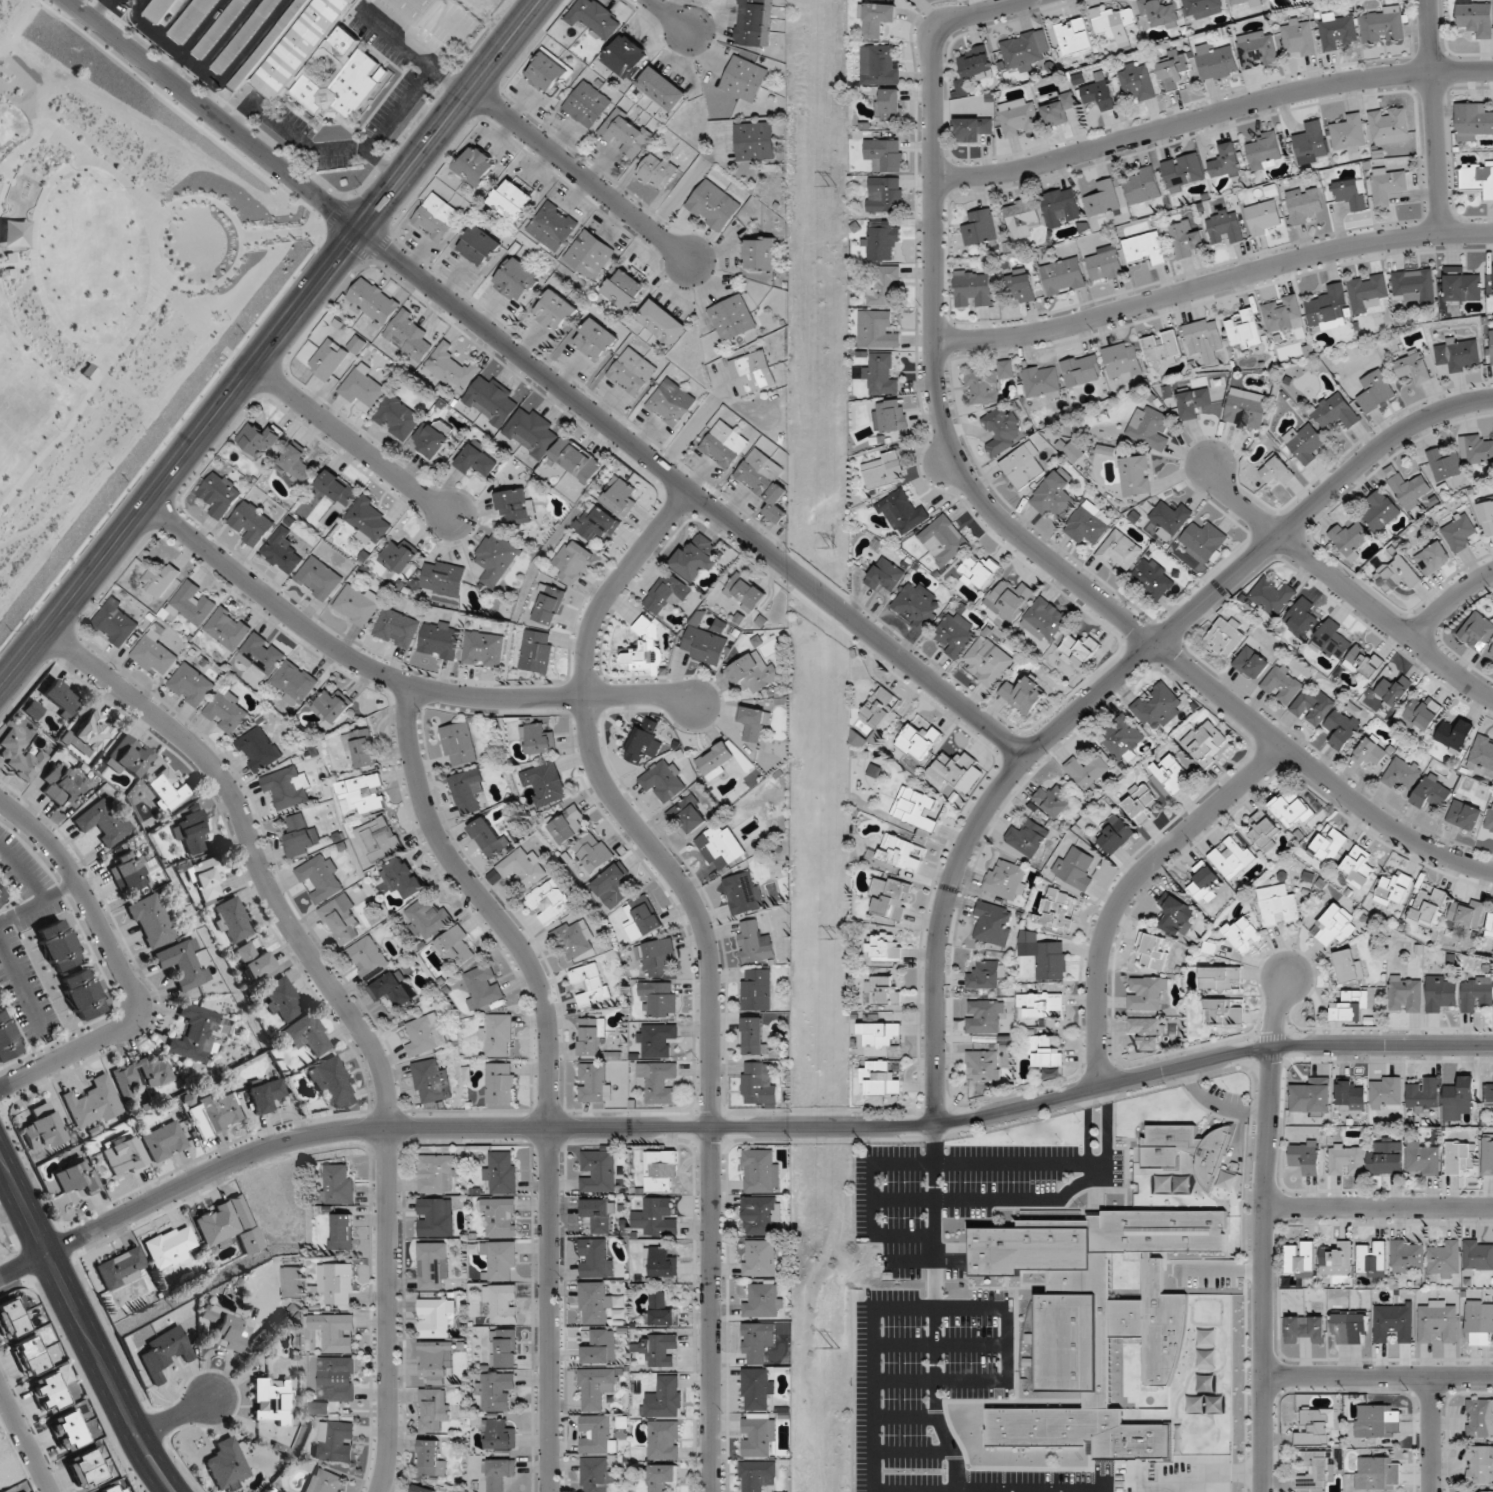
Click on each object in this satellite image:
building: (1245, 2)
building: (1201, 8)
building: (418, 9)
building: (163, 11)
road: (668, 14)
building: (1159, 15)
building: (595, 17)
building: (1476, 17)
building: (191, 19)
building: (877, 20)
building: (754, 23)
building: (1112, 23)
building: (1383, 25)
building: (219, 27)
building: (1339, 30)
building: (244, 35)
building: (1074, 36)
building: (1299, 37)
building: (267, 44)
building: (1257, 49)
road: (412, 50)
building: (1024, 50)
building: (627, 56)
building: (349, 57)
building: (1216, 61)
building: (977, 62)
building: (878, 66)
building: (1175, 70)
building: (547, 72)
building: (744, 79)
building: (1138, 81)
building: (662, 89)
building: (1100, 94)
building: (587, 104)
building: (888, 104)
building: (1058, 110)
road: (1211, 114)
road: (214, 115)
road: (1434, 116)
building: (1019, 117)
building: (1472, 121)
building: (1389, 126)
building: (972, 129)
building: (625, 134)
building: (1349, 134)
building: (756, 141)
building: (1311, 143)
building: (1264, 151)
road: (333, 153)
building: (885, 155)
building: (1225, 162)
road: (383, 165)
building: (476, 166)
building: (656, 171)
building: (1183, 172)
road: (582, 176)
building: (1477, 179)
building: (1388, 184)
building: (1143, 186)
building: (885, 194)
building: (1352, 194)
building: (512, 200)
building: (1103, 200)
building: (1304, 204)
building: (713, 205)
building: (1061, 207)
building: (436, 218)
building: (1022, 218)
building: (1264, 218)
building: (1225, 226)
building: (552, 227)
building: (980, 228)
building: (1184, 238)
building: (881, 240)
building: (479, 246)
building: (1145, 248)
building: (759, 253)
building: (589, 254)
building: (1104, 265)
building: (1063, 276)
building: (517, 279)
park: (113, 284)
building: (883, 284)
road: (1213, 284)
building: (1022, 286)
building: (1415, 286)
building: (1462, 286)
building: (973, 288)
building: (624, 289)
building: (1367, 293)
building: (372, 302)
building: (1328, 309)
building: (554, 311)
building: (1284, 316)
building: (732, 318)
building: (662, 322)
building: (877, 330)
building: (1244, 330)
building: (409, 336)
building: (595, 340)
building: (1204, 340)
road: (271, 343)
building: (1491, 347)
building: (1162, 348)
building: (1459, 354)
building: (328, 359)
building: (1123, 361)
building: (451, 368)
building: (1413, 368)
building: (1082, 370)
building: (632, 372)
building: (752, 372)
building: (881, 374)
building: (1042, 382)
building: (986, 385)
building: (362, 386)
building: (1375, 391)
building: (491, 400)
building: (671, 402)
building: (1194, 403)
building: (1246, 409)
building: (1335, 412)
building: (890, 416)
building: (397, 418)
road: (692, 426)
building: (1149, 428)
building: (1001, 431)
building: (532, 433)
road: (349, 439)
building: (431, 439)
building: (259, 440)
building: (1305, 442)
building: (724, 445)
building: (1479, 449)
building: (577, 459)
building: (476, 461)
building: (297, 463)
building: (1444, 464)
building: (1022, 466)
building: (1276, 470)
building: (883, 471)
building: (1135, 476)
building: (764, 482)
building: (1410, 490)
building: (337, 491)
road: (692, 493)
building: (1053, 494)
building: (220, 495)
building: (621, 496)
building: (515, 506)
building: (1380, 510)
building: (902, 513)
building: (1171, 517)
building: (1487, 517)
building: (367, 520)
building: (598, 523)
building: (251, 524)
road: (1006, 524)
building: (1086, 524)
building: (1458, 534)
building: (1350, 539)
building: (944, 540)
building: (1204, 542)
building: (1120, 550)
building: (282, 552)
building: (398, 557)
building: (496, 558)
building: (1433, 558)
building: (696, 559)
building: (574, 561)
building: (980, 570)
building: (886, 576)
building: (443, 577)
building: (1399, 577)
building: (1153, 578)
building: (318, 579)
building: (158, 580)
road: (1345, 585)
building: (667, 593)
building: (745, 593)
building: (1272, 597)
building: (1009, 599)
building: (193, 604)
building: (357, 604)
road: (1450, 604)
building: (917, 606)
building: (1304, 618)
building: (1044, 620)
building: (116, 622)
building: (397, 628)
building: (227, 629)
building: (1477, 631)
building: (954, 635)
building: (1224, 637)
building: (1331, 639)
building: (440, 640)
building: (704, 646)
building: (483, 649)
building: (646, 650)
building: (1079, 650)
building: (1491, 650)
building: (537, 652)
building: (154, 654)
building: (261, 656)
building: (987, 662)
building: (1251, 663)
building: (1363, 664)
building: (752, 674)
road: (395, 679)
building: (294, 682)
building: (1283, 684)
building: (191, 685)
road: (1103, 688)
building: (1393, 691)
building: (1024, 694)
building: (60, 699)
building: (331, 706)
building: (1158, 706)
building: (879, 707)
building: (1313, 707)
building: (32, 711)
building: (227, 711)
building: (1423, 714)
building: (754, 724)
building: (1342, 729)
building: (93, 732)
building: (1455, 735)
building: (538, 739)
building: (1122, 739)
building: (918, 742)
building: (1207, 744)
building: (458, 745)
building: (642, 746)
building: (257, 749)
building: (362, 749)
building: (1370, 752)
building: (1482, 754)
building: (20, 755)
building: (127, 759)
building: (717, 760)
building: (958, 772)
building: (1088, 772)
building: (1402, 773)
building: (1171, 774)
building: (663, 781)
building: (545, 783)
building: (60, 785)
building: (286, 788)
building: (166, 790)
building: (466, 791)
building: (365, 793)
building: (1432, 793)
building: (1054, 801)
building: (1140, 803)
building: (915, 808)
building: (1291, 809)
building: (688, 813)
building: (1461, 815)
building: (1491, 819)
building: (103, 821)
building: (568, 826)
building: (190, 832)
building: (1264, 832)
building: (300, 834)
building: (1115, 834)
building: (487, 837)
building: (1027, 837)
building: (379, 839)
building: (1328, 847)
building: (719, 848)
building: (900, 853)
building: (592, 854)
building: (1231, 857)
building: (522, 867)
building: (1358, 867)
building: (1075, 868)
building: (129, 871)
building: (321, 878)
building: (402, 878)
building: (206, 880)
building: (1005, 880)
building: (1204, 884)
road: (1130, 885)
building: (613, 887)
building: (1395, 889)
building: (743, 893)
building: (2, 895)
building: (890, 897)
building: (549, 902)
building: (1277, 905)
building: (1427, 907)
building: (1055, 909)
building: (645, 915)
building: (1466, 915)
building: (1176, 916)
building: (342, 918)
building: (427, 918)
building: (230, 920)
building: (152, 922)
building: (993, 923)
building: (1490, 924)
building: (1334, 925)
building: (1243, 935)
building: (574, 939)
building: (754, 944)
building: (58, 945)
building: (456, 946)
building: (883, 949)
building: (1154, 951)
building: (657, 958)
road: (707, 958)
building: (368, 959)
building: (1048, 960)
building: (251, 962)
road: (118, 963)
building: (182, 964)
building: (1349, 966)
building: (986, 975)
building: (1220, 978)
building: (591, 984)
building: (482, 987)
building: (393, 989)
building: (756, 989)
building: (882, 991)
building: (1147, 993)
building: (1441, 993)
building: (82, 994)
building: (1406, 994)
building: (1476, 994)
building: (659, 999)
building: (281, 1000)
building: (1042, 1005)
building: (1351, 1007)
road: (343, 1011)
building: (1223, 1012)
building: (985, 1017)
building: (1146, 1033)
building: (195, 1034)
building: (425, 1035)
building: (498, 1035)
building: (878, 1035)
building: (306, 1036)
building: (753, 1036)
building: (591, 1037)
building: (7, 1038)
building: (655, 1040)
building: (1045, 1052)
building: (984, 1065)
road: (547, 1070)
building: (141, 1075)
building: (431, 1081)
building: (331, 1082)
building: (659, 1082)
building: (501, 1083)
building: (595, 1083)
building: (759, 1083)
building: (1386, 1093)
building: (1422, 1094)
building: (264, 1095)
building: (1488, 1095)
building: (1350, 1096)
building: (1312, 1098)
building: (1460, 1101)
building: (93, 1103)
building: (217, 1113)
road: (1105, 1125)
road: (761, 1126)
road: (1085, 1127)
building: (41, 1128)
building: (164, 1141)
building: (1185, 1149)
building: (1487, 1155)
building: (1305, 1157)
building: (124, 1158)
building: (1386, 1158)
building: (1460, 1158)
building: (1423, 1159)
building: (1346, 1160)
building: (597, 1171)
building: (760, 1171)
building: (501, 1172)
building: (660, 1172)
building: (437, 1174)
building: (75, 1177)
building: (1226, 1181)
building: (338, 1184)
road: (1021, 1198)
road: (1379, 1206)
building: (599, 1215)
building: (759, 1215)
building: (499, 1216)
building: (435, 1218)
building: (654, 1219)
building: (228, 1226)
building: (343, 1232)
road: (1264, 1233)
building: (169, 1247)
building: (1478, 1255)
building: (1407, 1256)
building: (596, 1258)
building: (758, 1258)
building: (499, 1259)
building: (1372, 1259)
building: (1301, 1260)
building: (1337, 1260)
building: (1445, 1260)
building: (661, 1263)
building: (432, 1265)
road: (24, 1267)
building: (120, 1268)
building: (291, 1283)
building: (337, 1284)
building: (763, 1302)
building: (501, 1303)
building: (594, 1303)
road: (933, 1309)
building: (661, 1310)
building: (1479, 1318)
building: (10, 1319)
building: (436, 1319)
building: (1097, 1320)
building: (1437, 1322)
building: (1393, 1323)
road: (83, 1326)
building: (223, 1328)
building: (1349, 1329)
building: (1306, 1330)
building: (335, 1333)
building: (757, 1342)
building: (598, 1348)
building: (504, 1349)
building: (658, 1350)
building: (163, 1352)
building: (28, 1356)
building: (438, 1365)
road: (1378, 1376)
building: (336, 1380)
building: (595, 1388)
building: (757, 1389)
building: (496, 1391)
building: (47, 1393)
building: (664, 1399)
building: (273, 1401)
building: (434, 1409)
building: (1480, 1418)
building: (1378, 1421)
road: (179, 1422)
building: (1315, 1428)
building: (66, 1432)
road: (1431, 1434)
building: (499, 1435)
building: (596, 1435)
building: (759, 1435)
building: (663, 1441)
road: (22, 1443)
building: (335, 1444)
building: (430, 1460)
building: (227, 1465)
building: (1480, 1465)
building: (88, 1468)
building: (1315, 1472)
building: (1379, 1473)
building: (499, 1474)
building: (596, 1474)
building: (757, 1475)
building: (662, 1477)
building: (324, 1482)
building: (421, 1489)
building: (1480, 1491)

